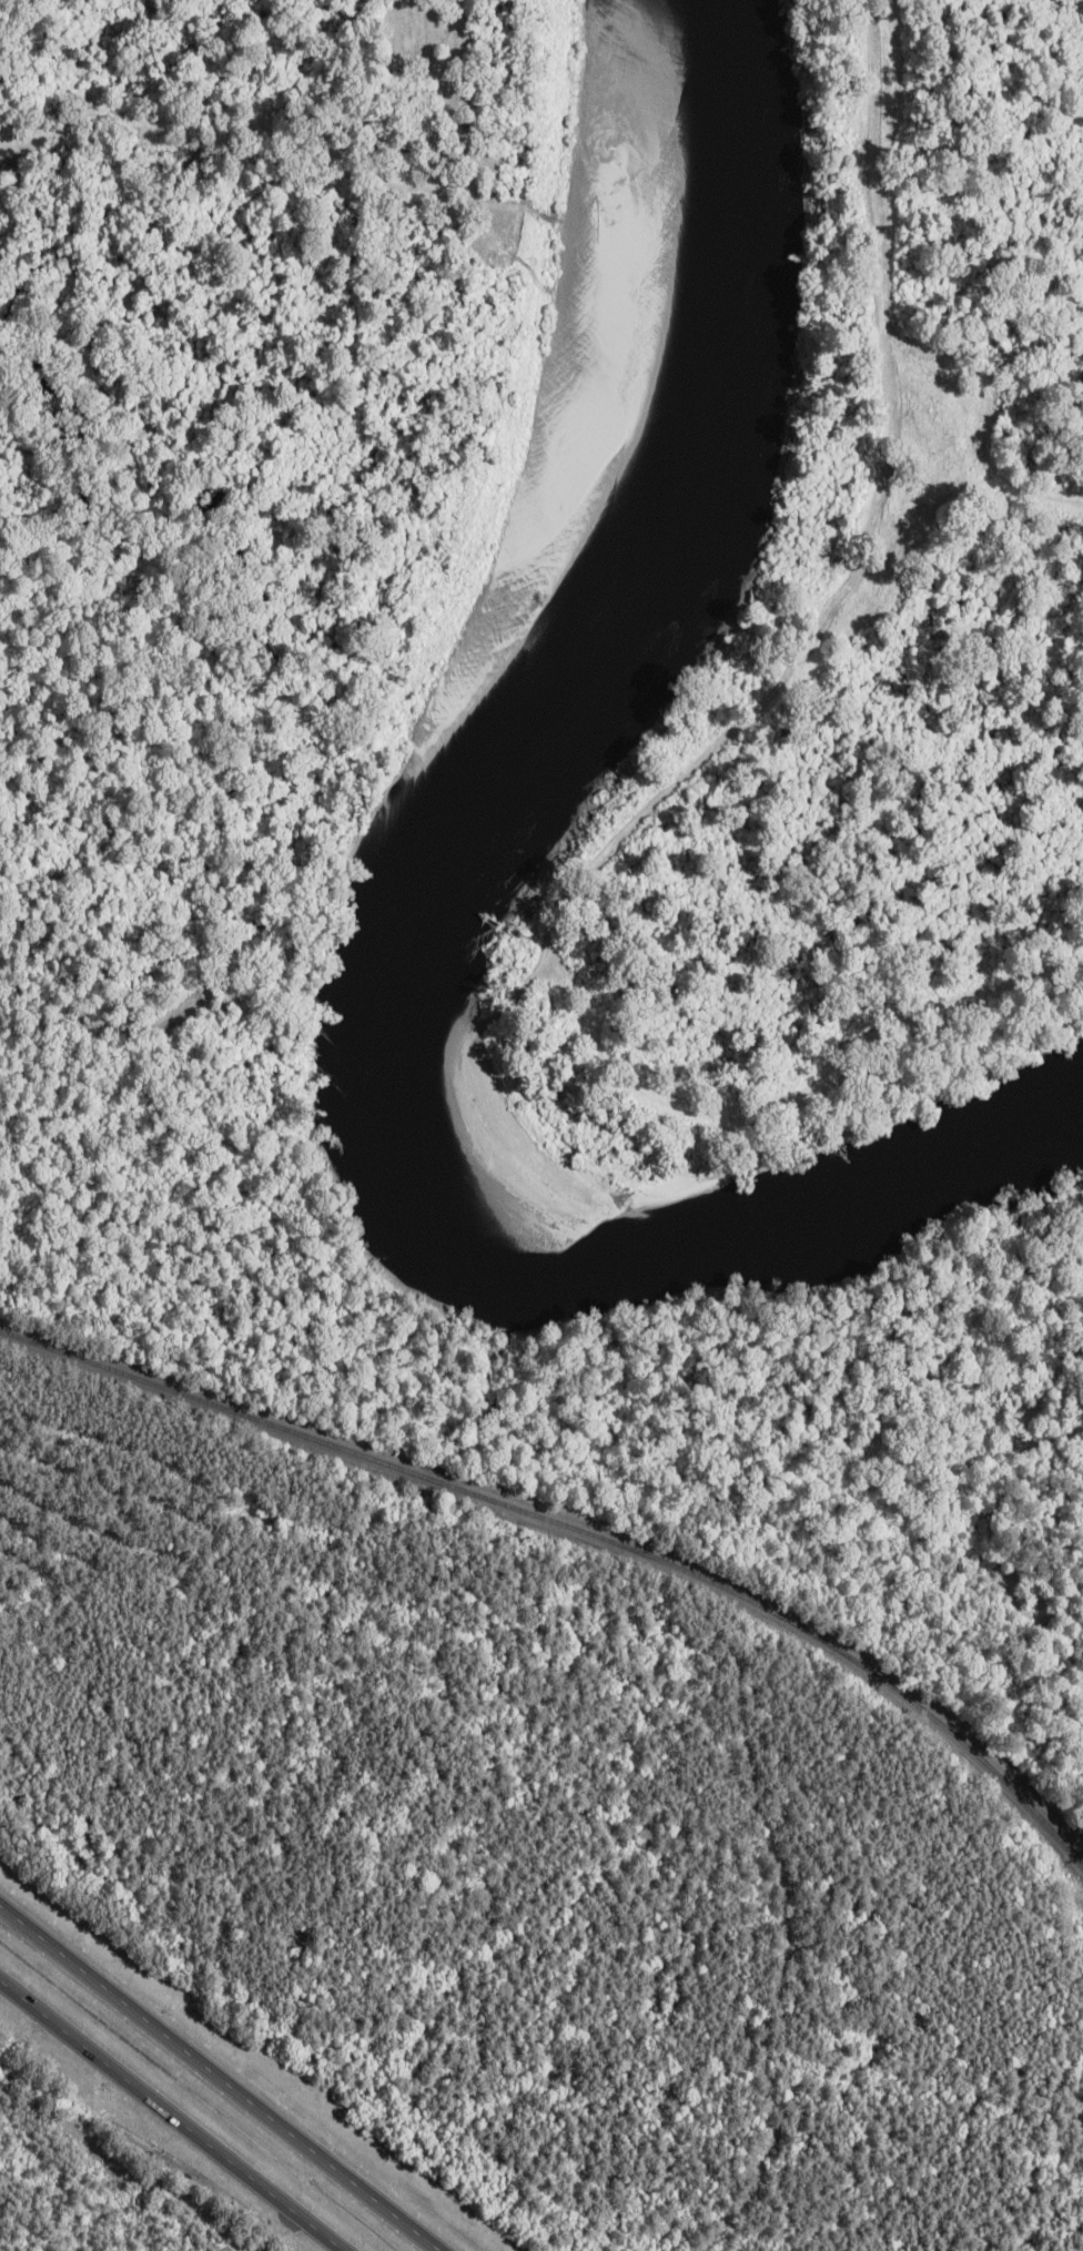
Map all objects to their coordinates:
river: (418, 921)
railway: (578, 1530)
road: (219, 2080)
road: (169, 2120)

